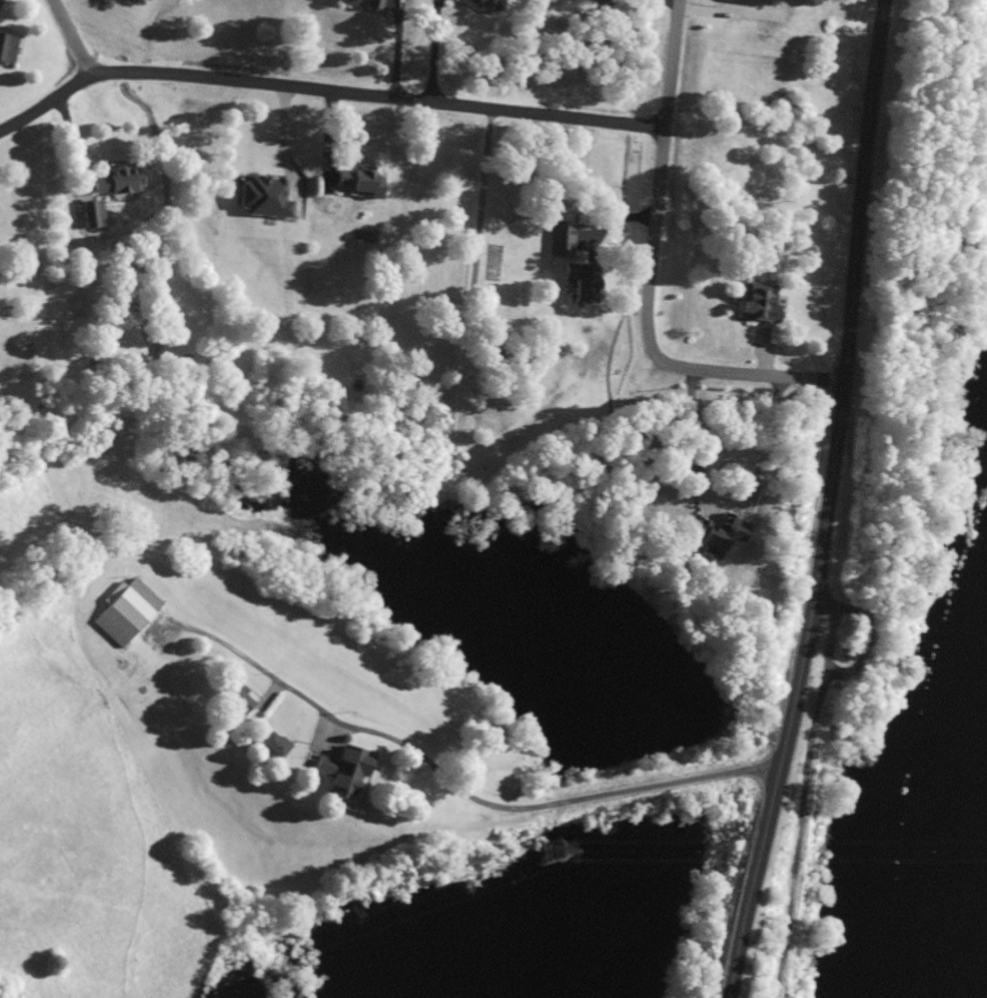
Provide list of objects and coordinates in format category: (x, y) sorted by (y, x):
building: (357, 5)
building: (475, 5)
road: (74, 38)
building: (5, 51)
road: (326, 91)
building: (112, 181)
building: (352, 183)
building: (90, 215)
building: (558, 242)
road: (651, 272)
building: (577, 283)
building: (754, 303)
road: (827, 503)
building: (710, 536)
building: (123, 612)
building: (232, 700)
building: (269, 747)
building: (340, 774)
road: (462, 794)

